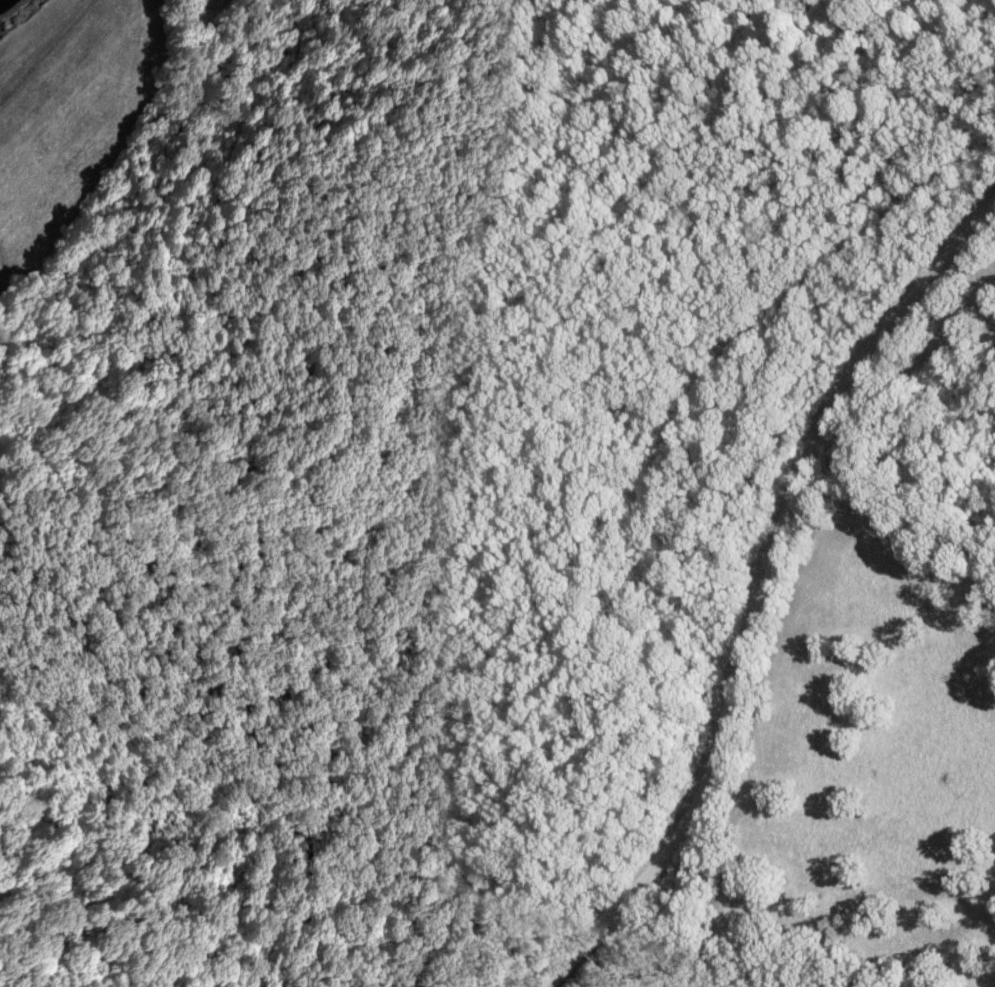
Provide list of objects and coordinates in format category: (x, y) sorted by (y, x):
road: (723, 576)

